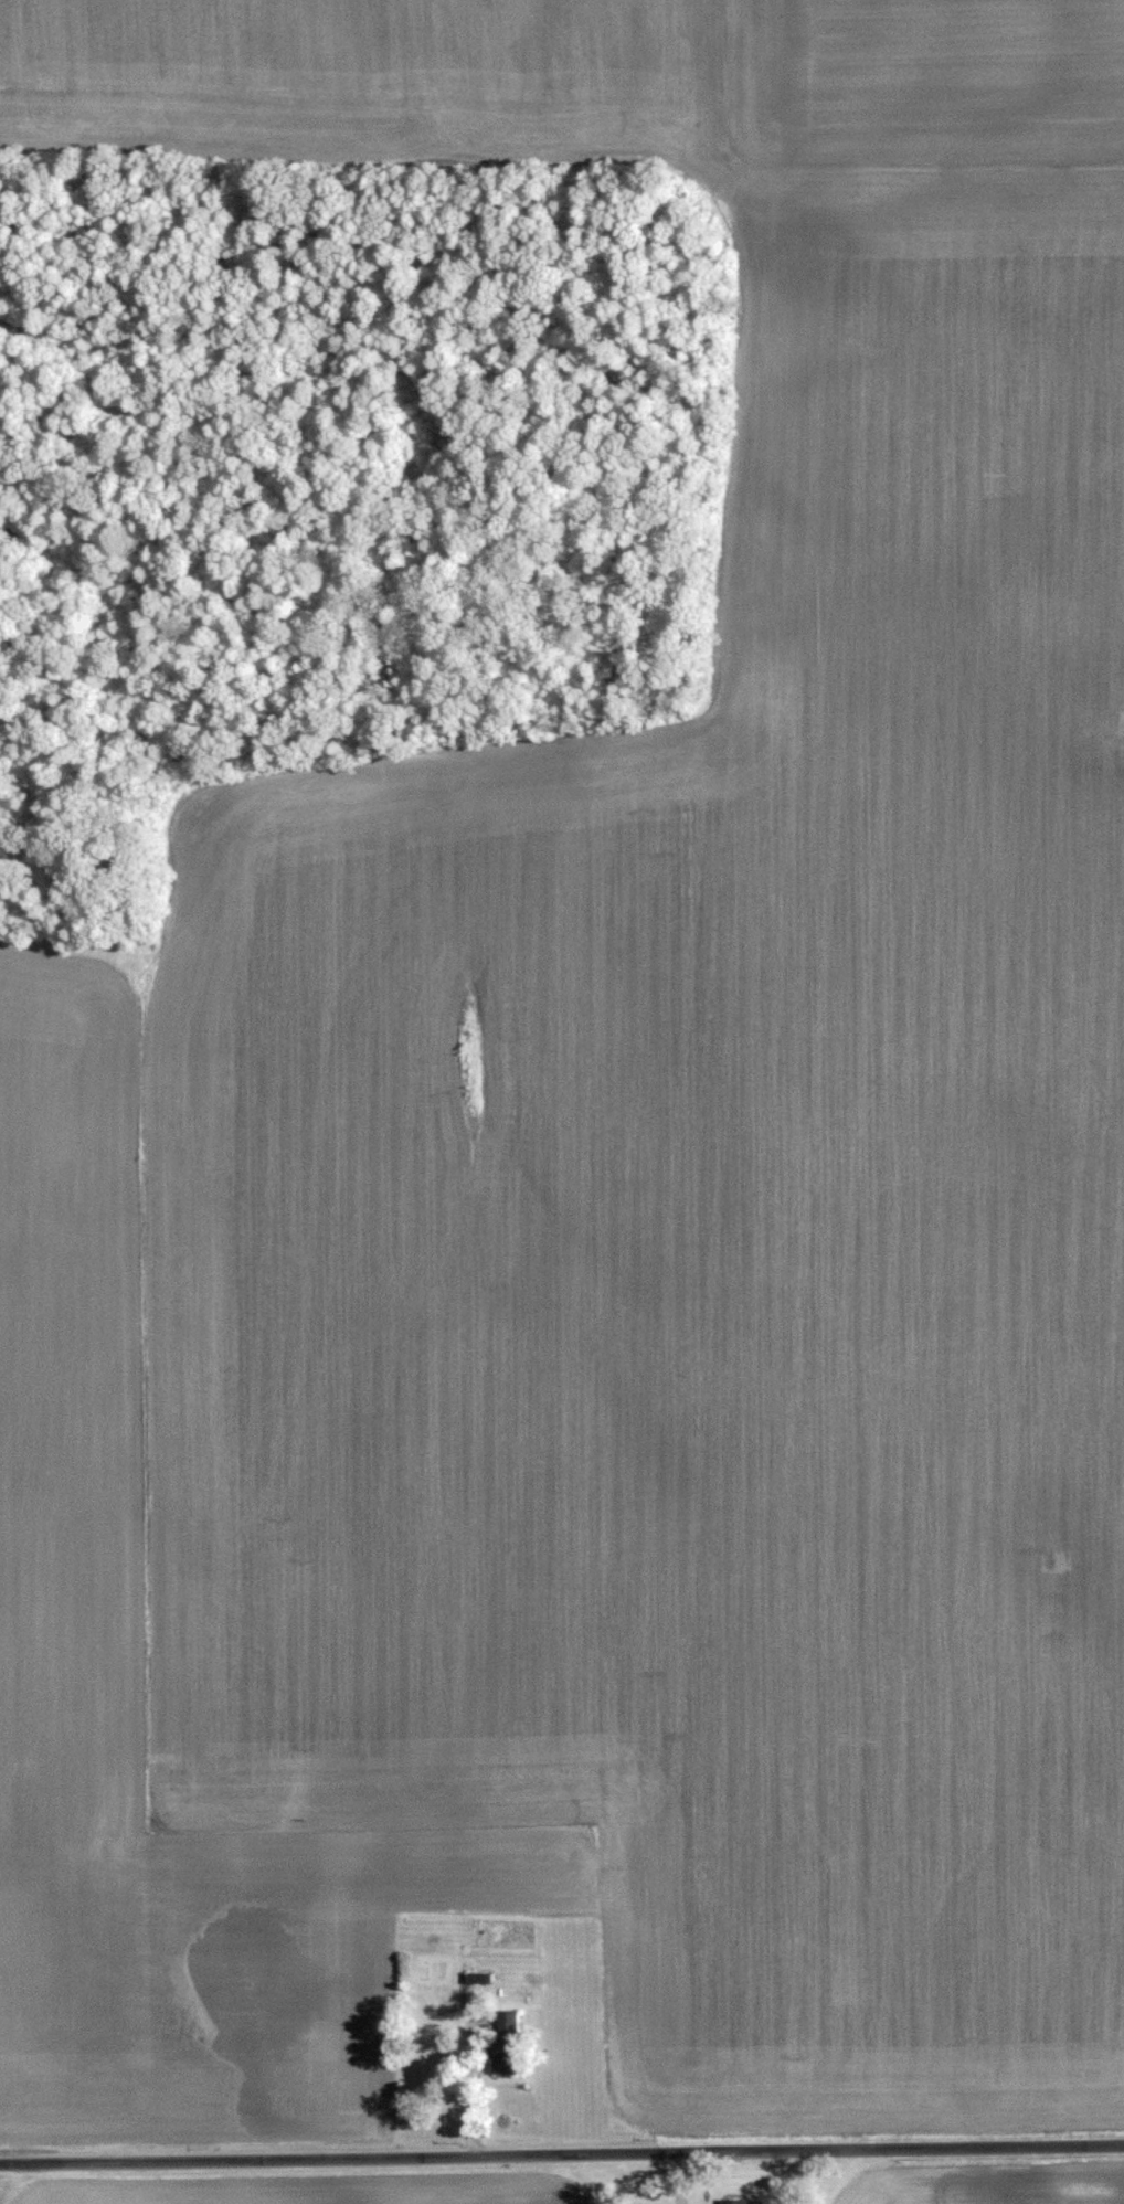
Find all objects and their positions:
building: (481, 1978)
building: (510, 2039)
road: (471, 2081)
road: (561, 2153)
road: (681, 2177)
building: (736, 2202)

